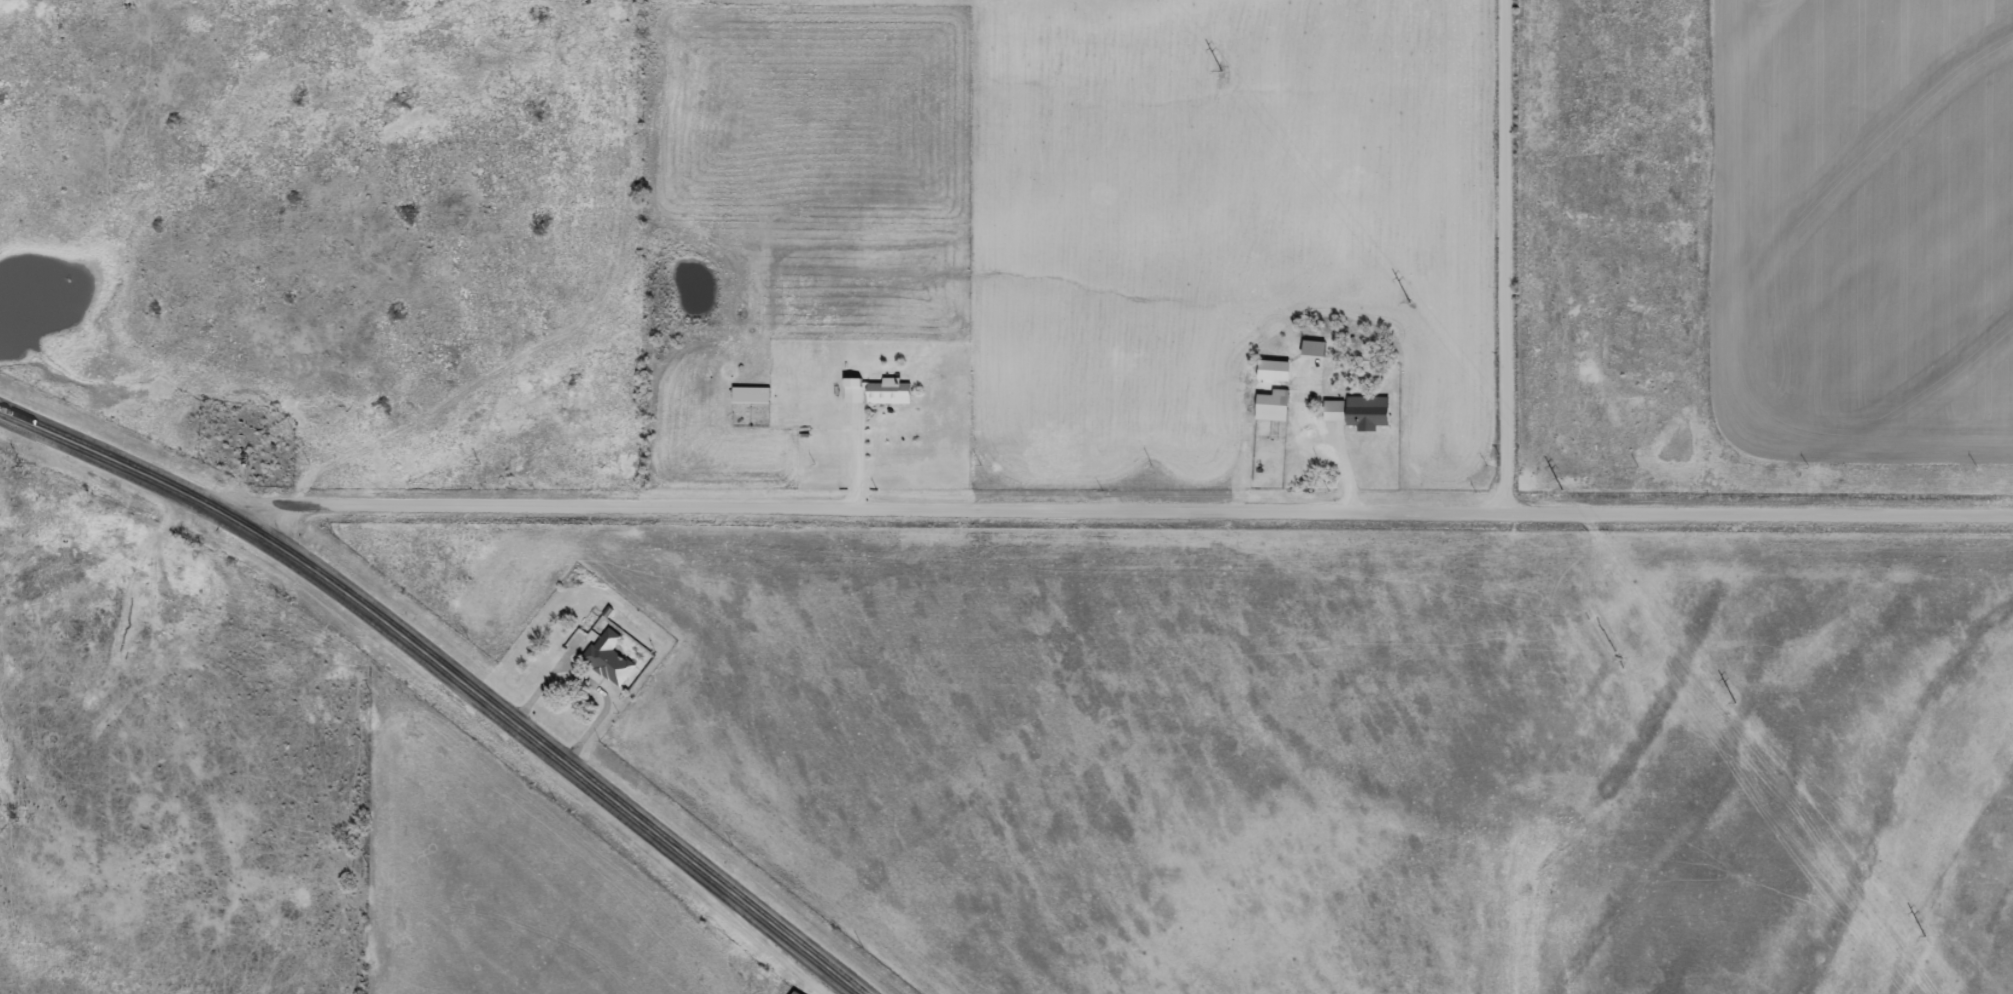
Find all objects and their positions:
road: (1509, 256)
building: (872, 391)
building: (1269, 406)
building: (1348, 409)
road: (1118, 509)
building: (605, 658)
road: (447, 674)
building: (792, 992)

